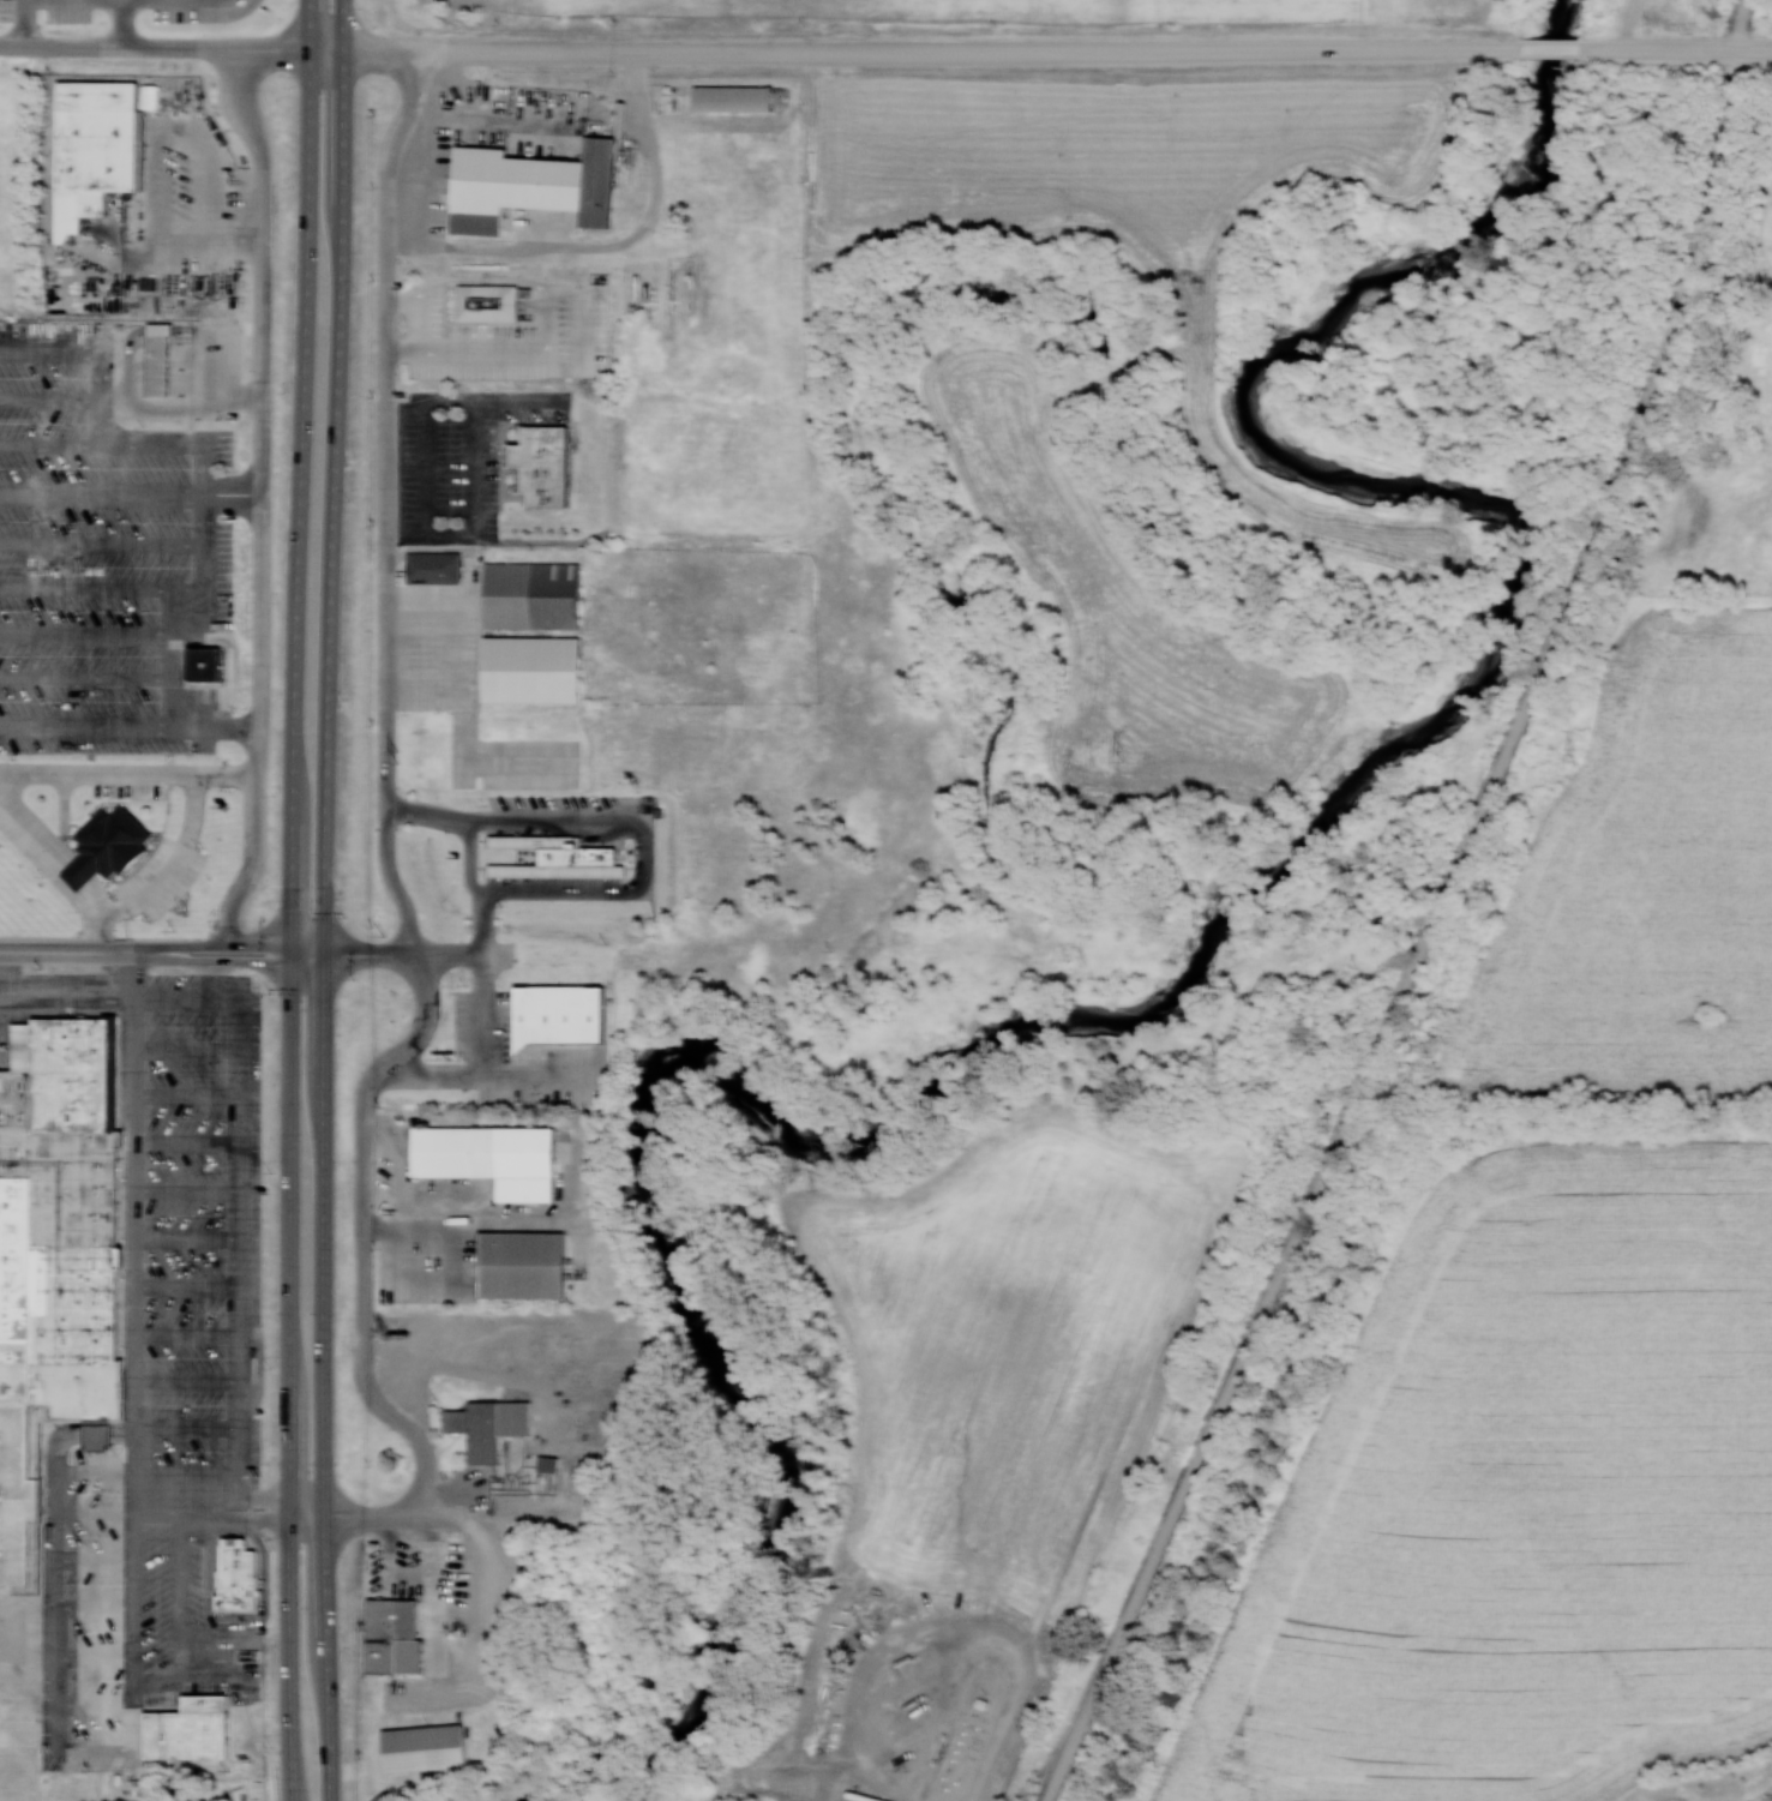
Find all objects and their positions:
crop: (944, 4)
road: (23, 23)
road: (122, 23)
road: (312, 23)
road: (173, 47)
road: (1557, 47)
road: (936, 48)
road: (1680, 49)
building: (738, 97)
building: (102, 146)
building: (536, 185)
building: (491, 300)
building: (162, 359)
road: (50, 397)
road: (50, 444)
building: (548, 464)
parking lot: (449, 474)
road: (336, 478)
road: (204, 482)
road: (102, 490)
road: (205, 491)
road: (258, 492)
road: (259, 499)
road: (301, 500)
road: (392, 502)
road: (102, 542)
parking lot: (103, 559)
building: (437, 566)
road: (102, 588)
building: (537, 592)
road: (88, 630)
building: (205, 664)
building: (536, 670)
road: (84, 677)
road: (89, 727)
power tower: (1578, 754)
power tower: (1127, 756)
power tower: (401, 757)
road: (127, 772)
building: (113, 846)
building: (567, 856)
road: (118, 906)
road: (1438, 914)
road: (97, 930)
road: (162, 955)
traffic signals: (293, 956)
traffic signals: (325, 956)
road: (406, 956)
building: (565, 1014)
road: (486, 1015)
road: (483, 1075)
building: (495, 1158)
road: (366, 1235)
building: (55, 1251)
building: (528, 1265)
parking lot: (169, 1374)
road: (290, 1379)
road: (328, 1379)
building: (494, 1425)
building: (552, 1463)
road: (380, 1517)
building: (240, 1574)
building: (396, 1634)
building: (193, 1730)
building: (428, 1747)

